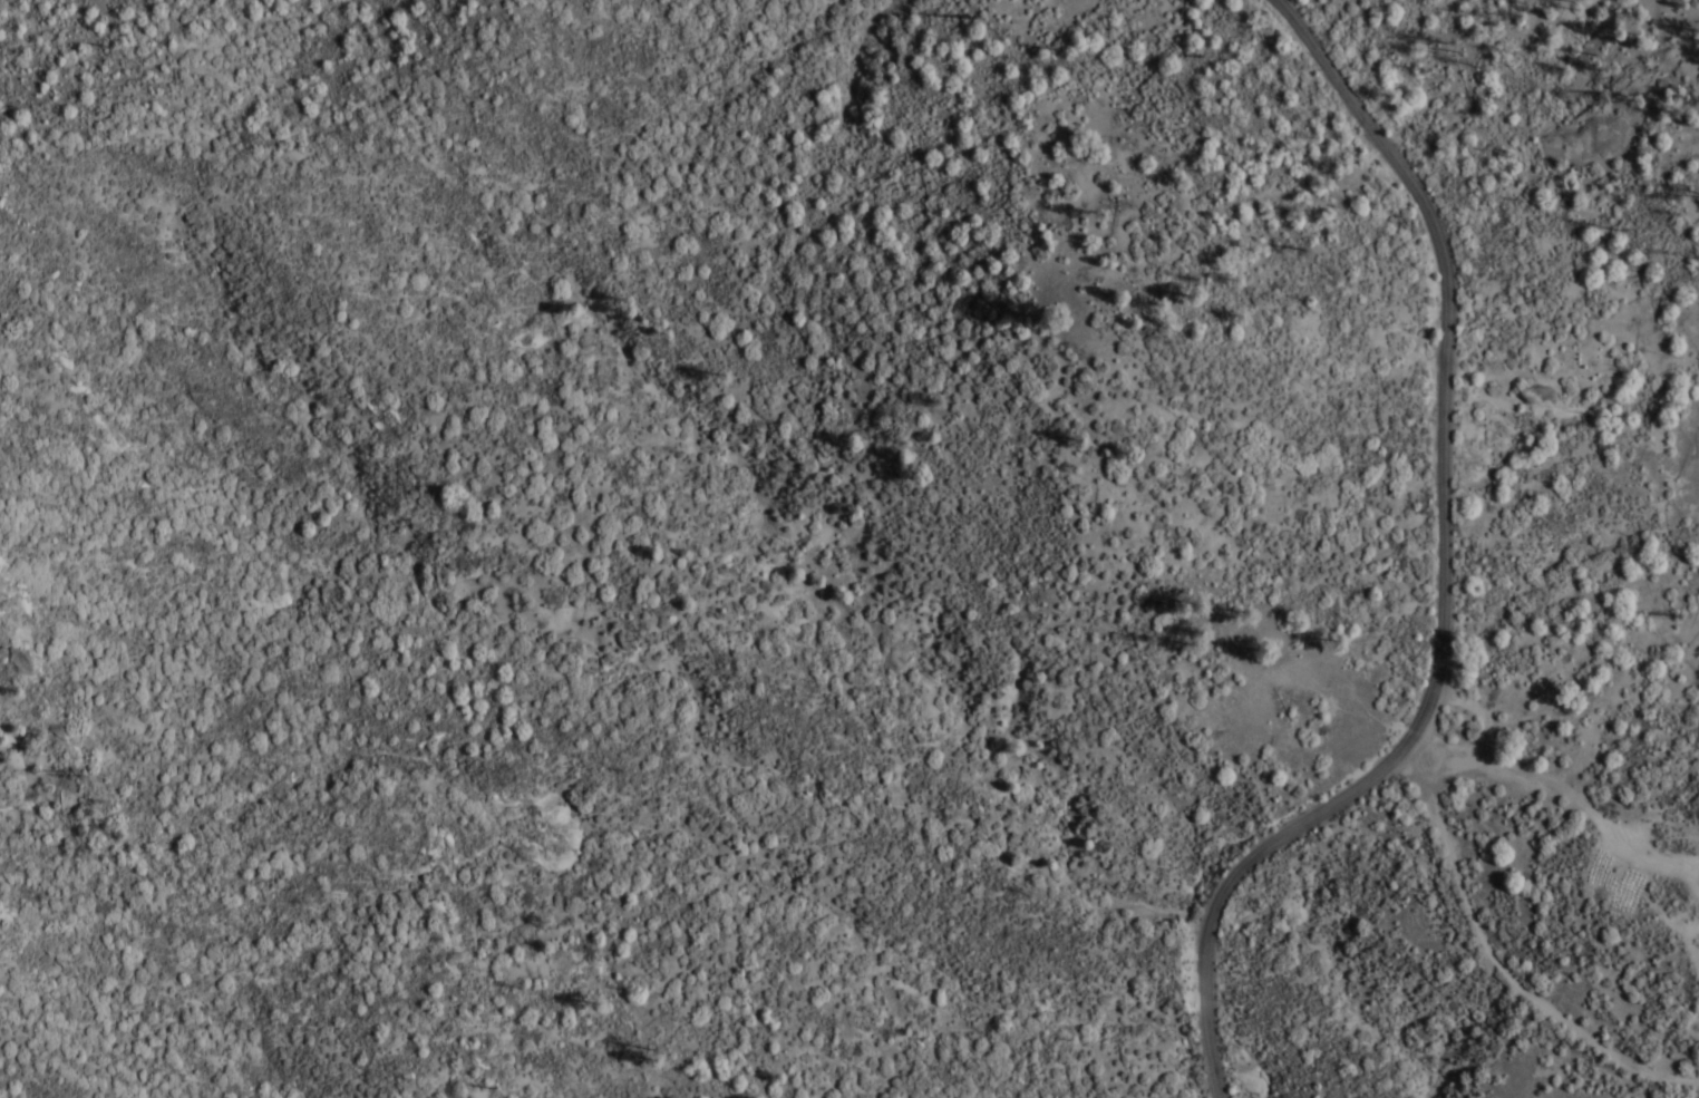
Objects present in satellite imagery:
road: (1438, 574)

